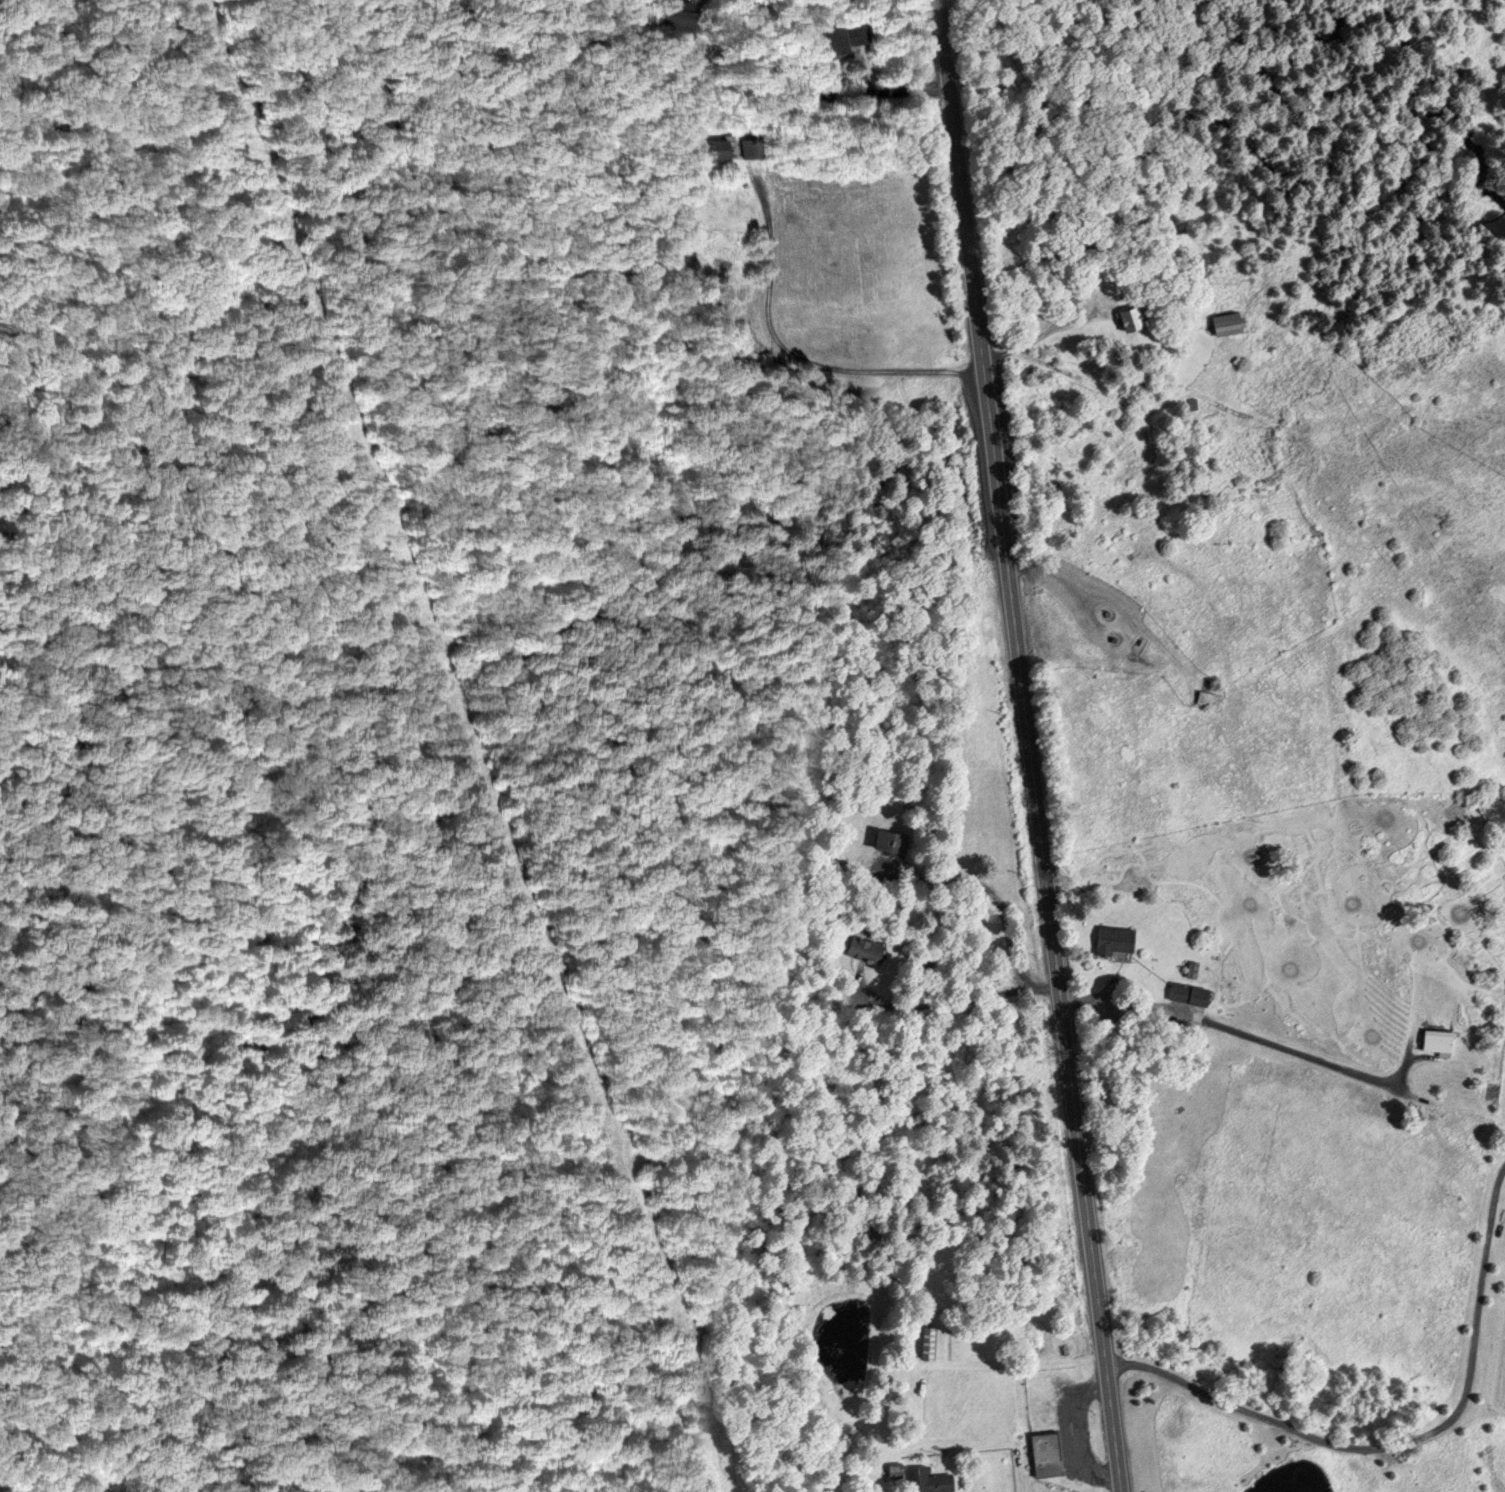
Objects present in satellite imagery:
building: (833, 37)
road: (822, 94)
building: (705, 149)
building: (1125, 318)
building: (1221, 325)
road: (855, 369)
road: (1112, 607)
building: (1204, 699)
road: (1029, 746)
building: (1110, 941)
road: (1012, 948)
building: (1186, 994)
road: (1263, 1041)
building: (1434, 1041)
building: (924, 1342)
road: (1070, 1435)
road: (1404, 1444)
building: (1043, 1454)
building: (928, 1480)

